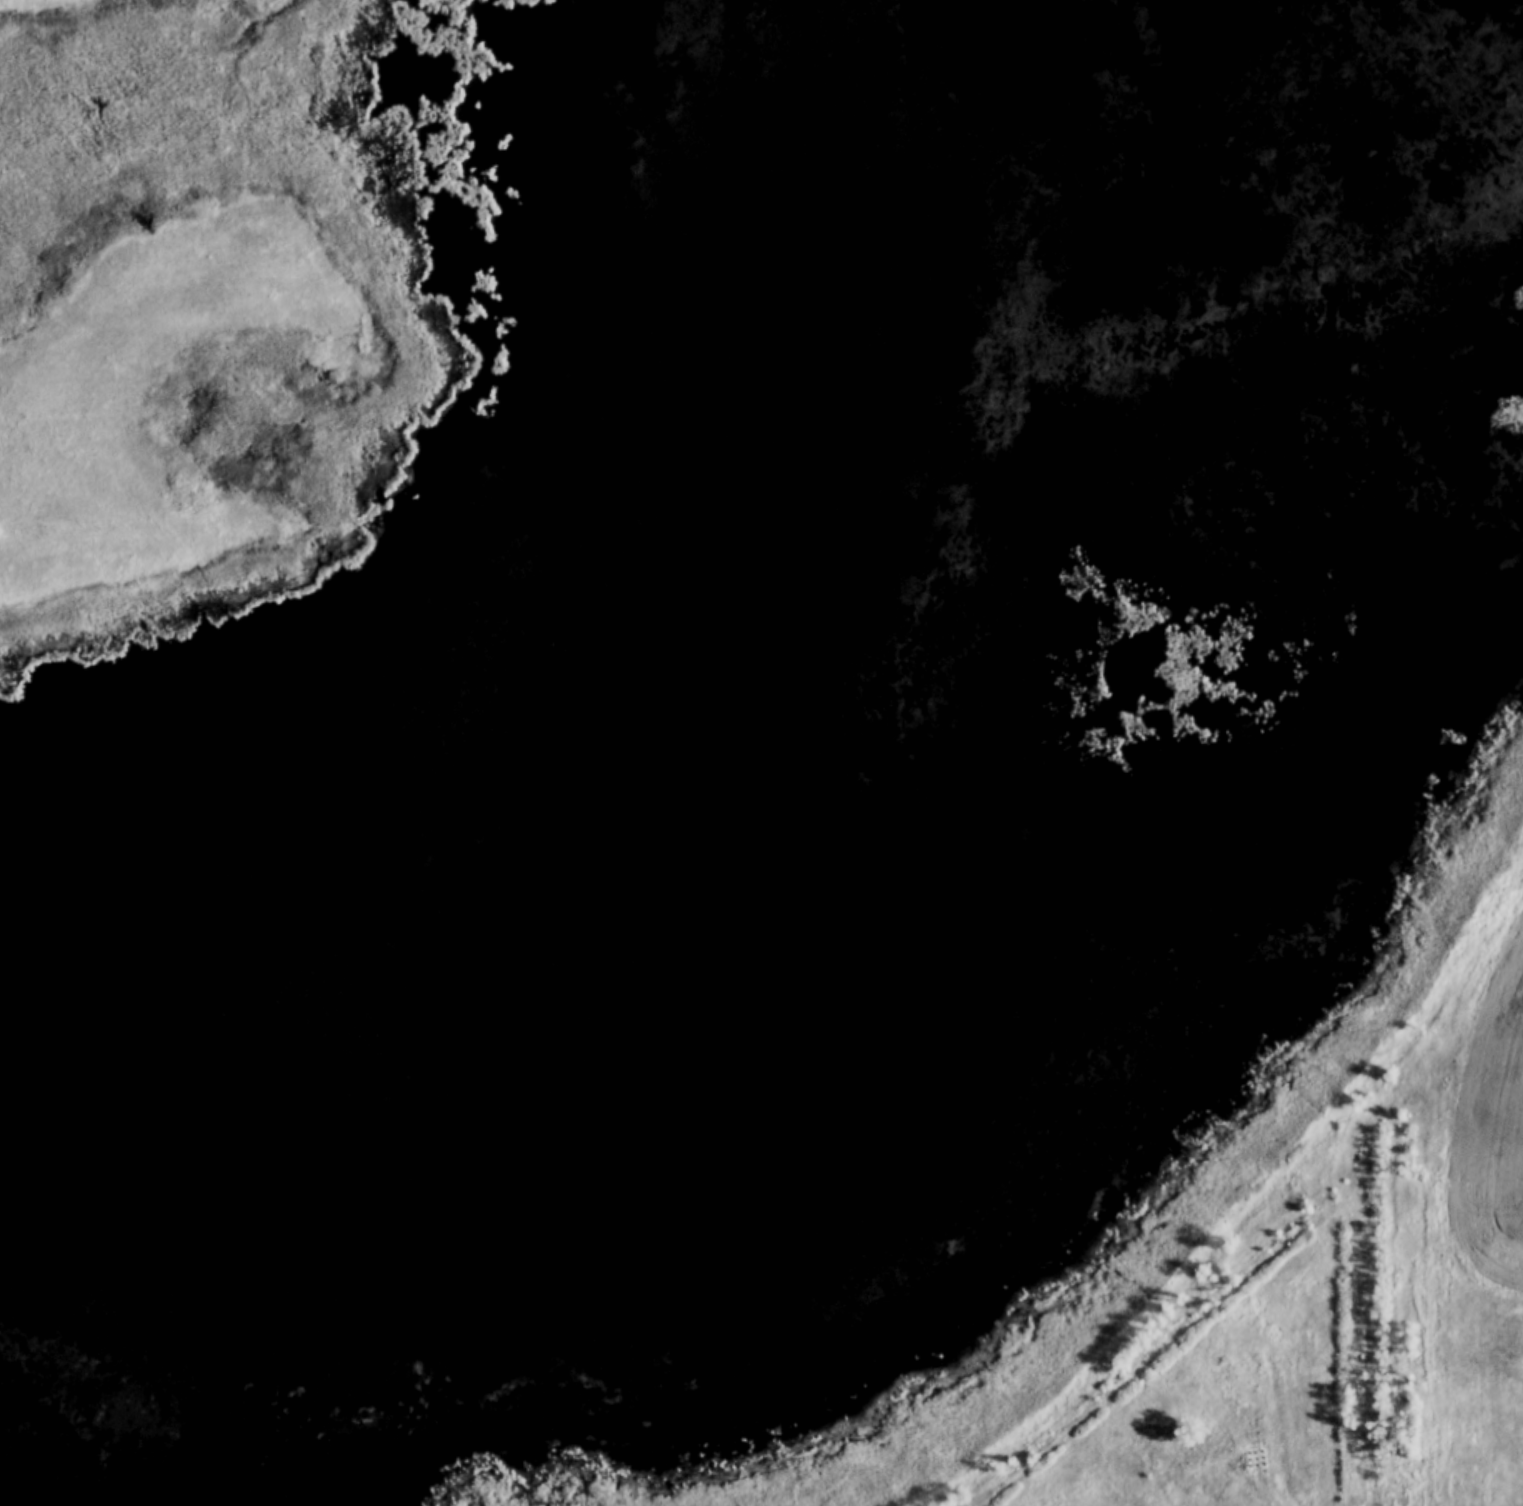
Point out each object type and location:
building: (1227, 1385)
building: (1207, 1448)
road: (1257, 1470)

